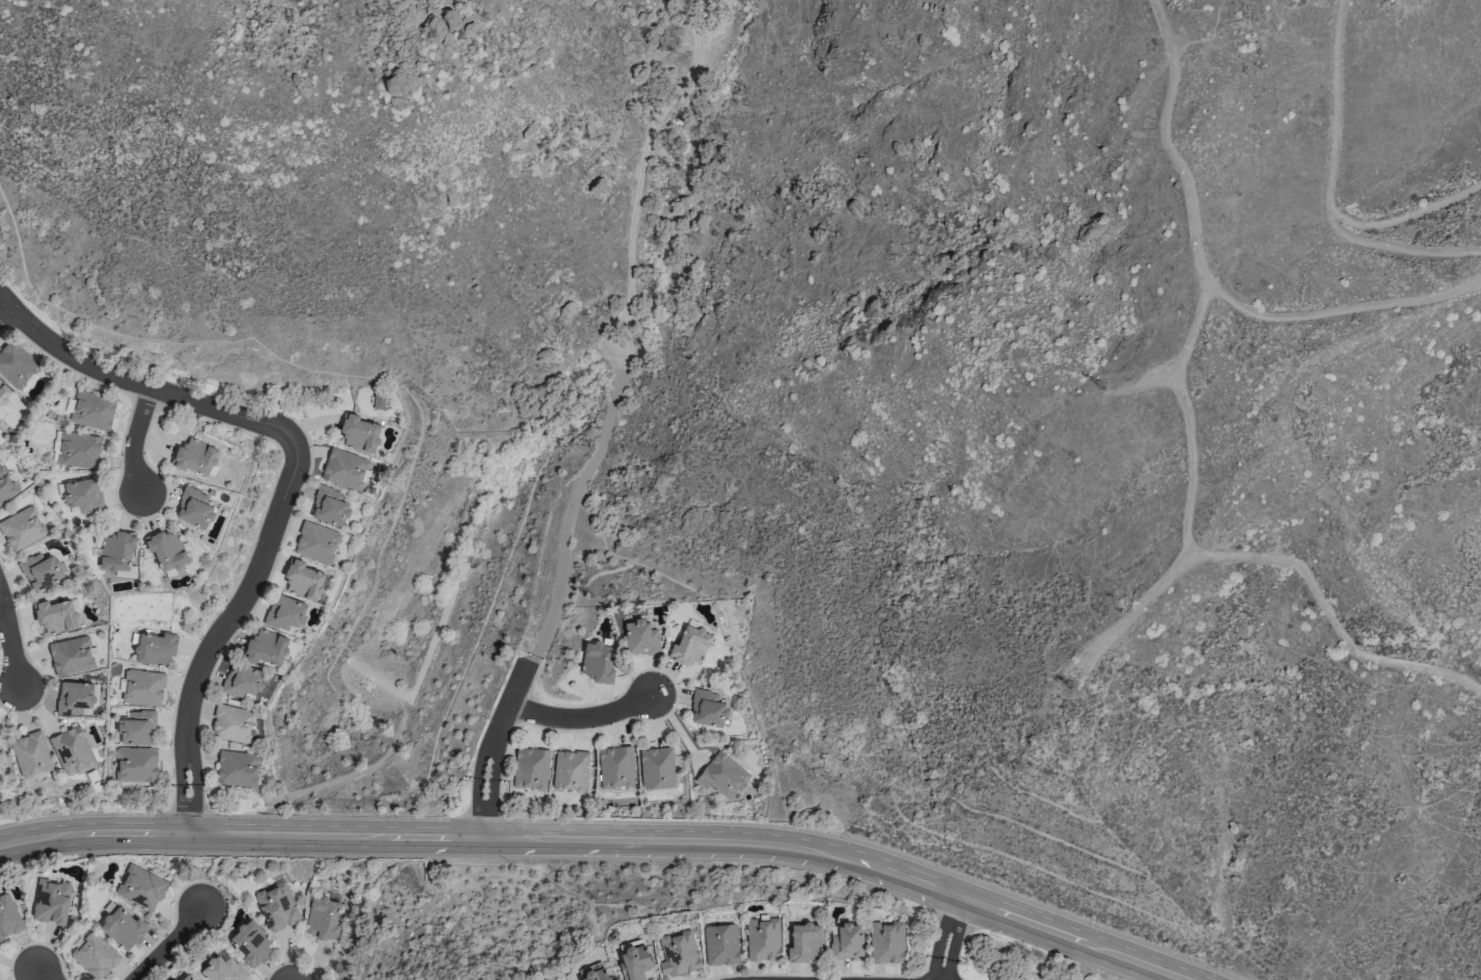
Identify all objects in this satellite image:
road: (640, 178)
road: (1329, 187)
road: (1394, 250)
road: (1209, 278)
road: (5, 299)
road: (5, 311)
building: (15, 365)
power tower: (1097, 384)
road: (1145, 384)
road: (146, 386)
building: (3, 397)
building: (378, 401)
building: (92, 411)
building: (358, 433)
road: (134, 440)
building: (76, 450)
building: (194, 456)
building: (344, 469)
building: (6, 487)
building: (79, 494)
building: (329, 506)
building: (195, 508)
road: (566, 513)
building: (21, 529)
building: (316, 542)
building: (166, 548)
building: (117, 552)
road: (1222, 557)
building: (40, 571)
building: (302, 580)
building: (285, 612)
road: (1136, 612)
building: (54, 616)
road: (233, 630)
building: (641, 637)
building: (689, 645)
building: (266, 646)
building: (154, 648)
road: (9, 653)
building: (70, 656)
building: (597, 662)
road: (512, 679)
building: (241, 680)
power tower: (1068, 684)
building: (141, 687)
building: (74, 698)
building: (707, 708)
road: (551, 719)
building: (232, 723)
building: (71, 749)
building: (30, 753)
road: (480, 760)
building: (135, 764)
building: (530, 767)
building: (615, 767)
building: (656, 767)
building: (236, 768)
building: (570, 770)
building: (722, 775)
road: (492, 788)
road: (475, 802)
road: (239, 826)
road: (615, 828)
road: (194, 836)
road: (478, 838)
road: (594, 849)
building: (140, 887)
road: (988, 894)
building: (50, 901)
building: (277, 907)
building: (8, 916)
building: (322, 918)
road: (952, 920)
building: (122, 927)
building: (762, 939)
building: (846, 939)
building: (804, 941)
building: (250, 942)
building: (886, 942)
road: (166, 943)
building: (720, 943)
building: (678, 954)
building: (94, 955)
building: (633, 959)
building: (118, 968)
road: (939, 968)
building: (222, 969)
building: (593, 972)
road: (44, 974)
building: (185, 976)

